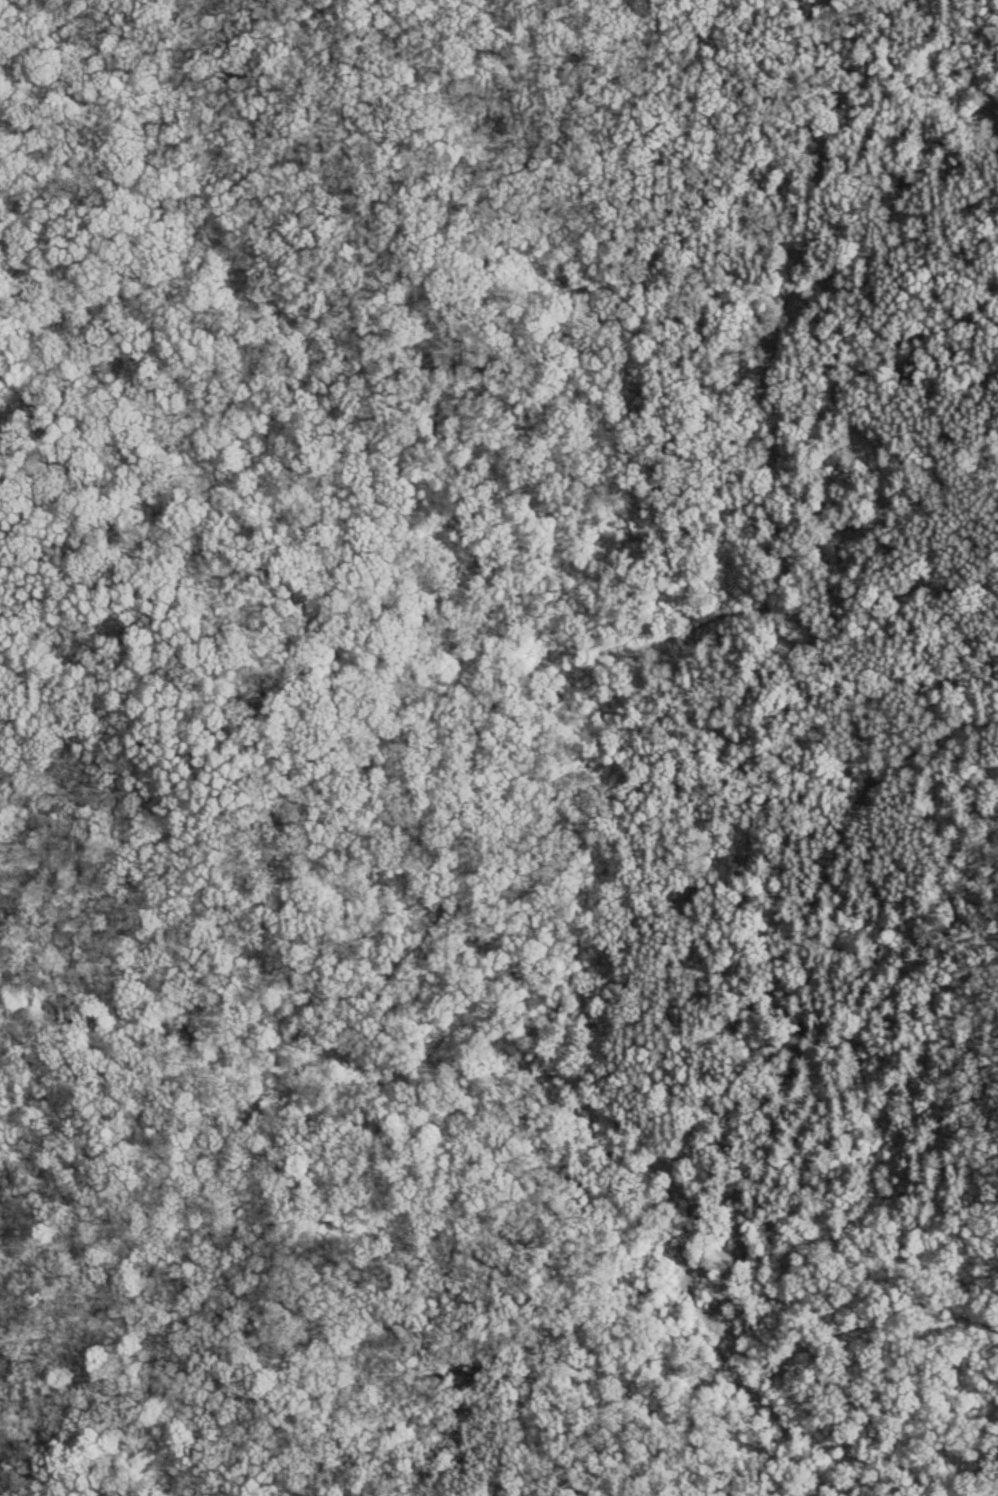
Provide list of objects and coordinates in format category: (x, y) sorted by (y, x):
road: (855, 761)
road: (553, 801)
road: (403, 855)

